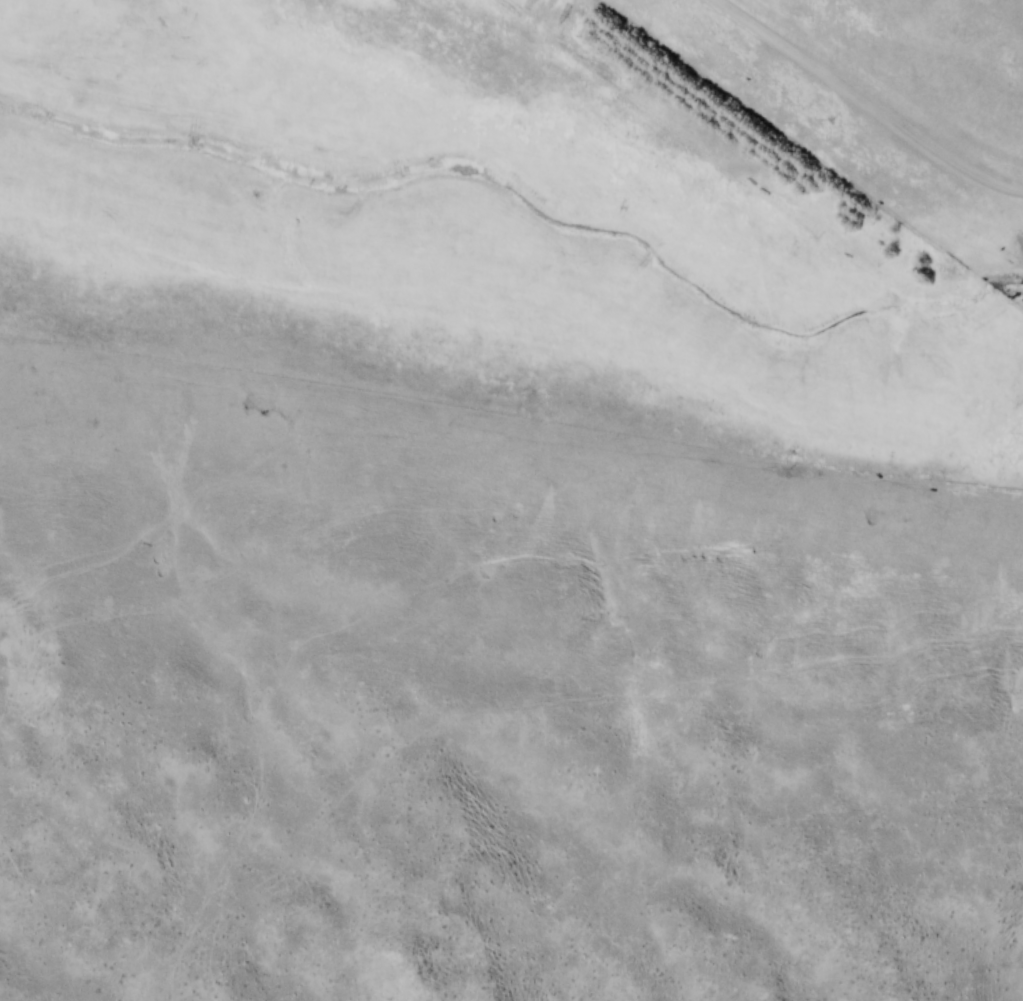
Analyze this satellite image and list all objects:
road: (874, 101)
airport runway: (511, 427)

